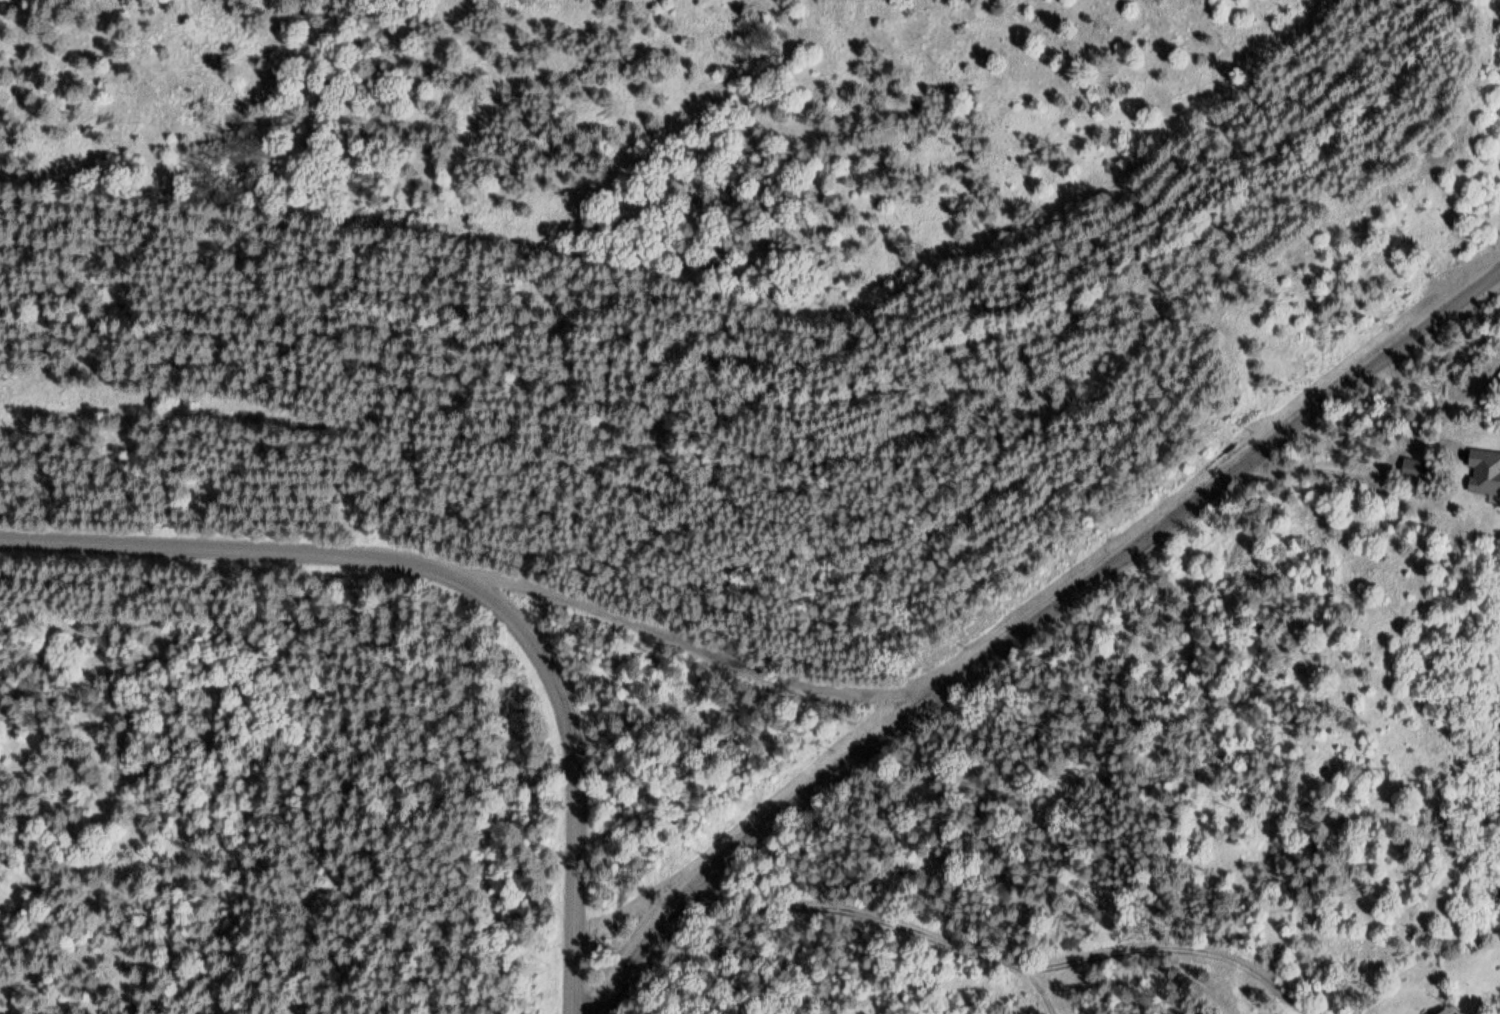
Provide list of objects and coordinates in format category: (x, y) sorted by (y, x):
building: (1495, 379)
building: (1414, 468)
building: (1485, 471)
road: (239, 549)
road: (1033, 624)
road: (704, 652)
road: (573, 782)
road: (1020, 968)
road: (1048, 992)
building: (1449, 1010)

